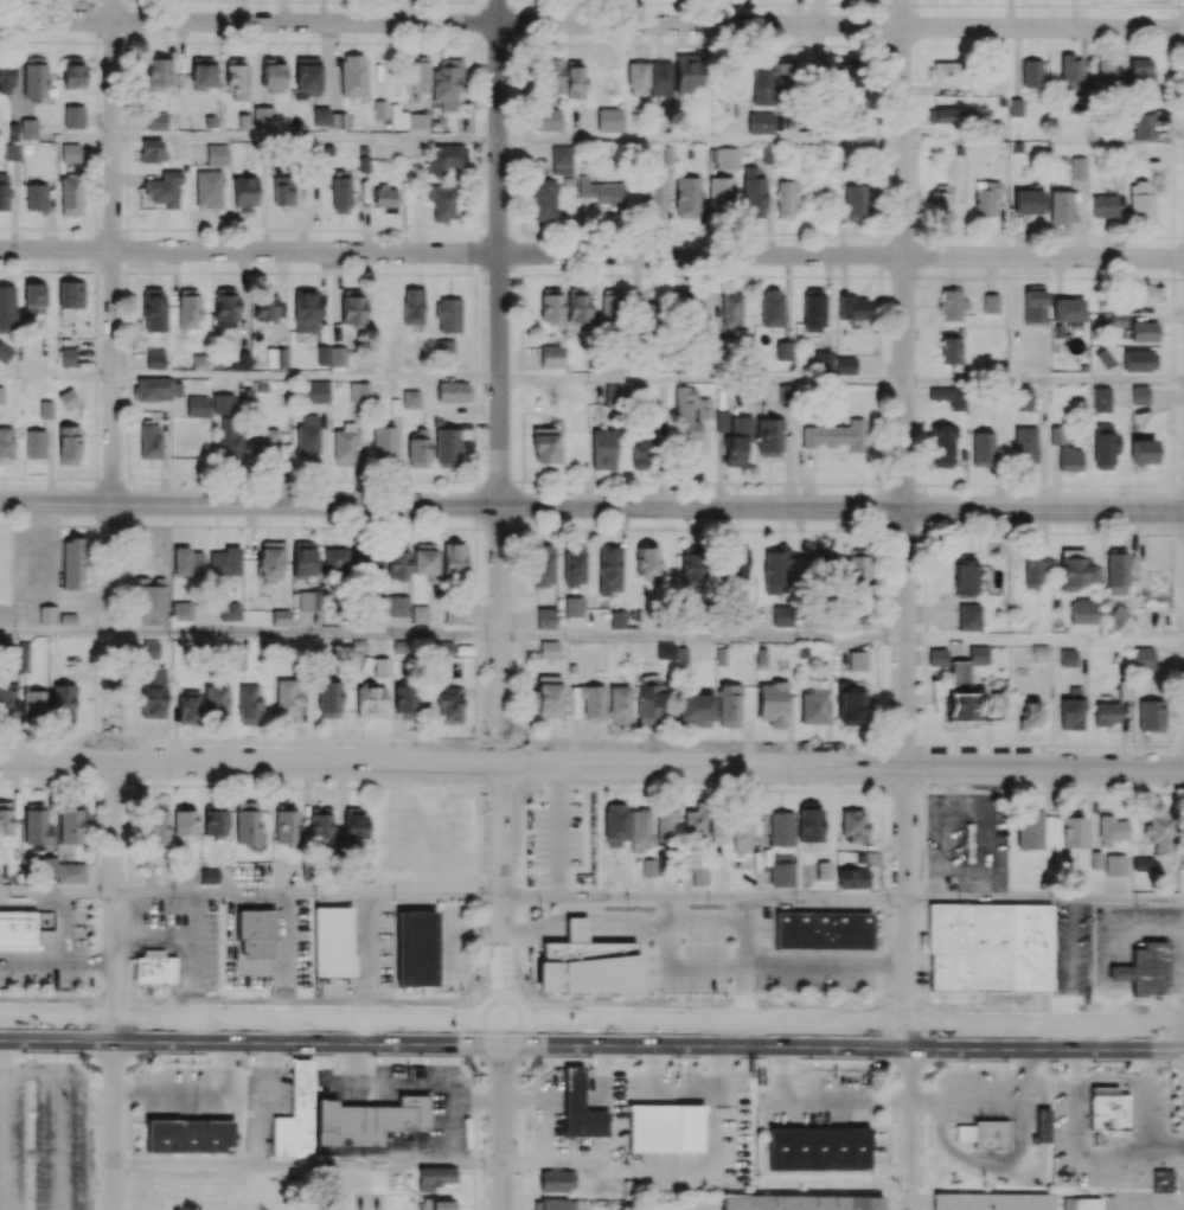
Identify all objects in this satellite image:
road: (591, 24)
road: (306, 134)
road: (591, 254)
road: (57, 374)
road: (307, 377)
road: (702, 380)
road: (1044, 383)
road: (591, 505)
road: (114, 513)
road: (500, 516)
road: (904, 517)
road: (57, 630)
road: (307, 633)
road: (703, 636)
road: (1044, 641)
road: (591, 766)
street lamp: (789, 785)
street lamp: (933, 785)
road: (56, 892)
road: (307, 895)
road: (703, 897)
road: (1044, 898)
road: (33, 905)
road: (68, 927)
building: (17, 929)
building: (575, 930)
road: (1150, 930)
building: (821, 931)
building: (255, 933)
building: (332, 945)
building: (18, 948)
building: (987, 948)
building: (415, 949)
road: (33, 960)
road: (90, 961)
road: (743, 965)
road: (824, 965)
road: (1071, 967)
building: (152, 968)
building: (588, 968)
building: (1148, 969)
building: (1119, 974)
road: (1114, 981)
street lamp: (83, 995)
street lamp: (210, 995)
street lamp: (348, 997)
street lamp: (457, 998)
street lamp: (761, 1001)
street lamp: (871, 1001)
street lamp: (1006, 1001)
street lamp: (1128, 1004)
road: (192, 1027)
road: (444, 1030)
traffic signals: (503, 1031)
road: (556, 1031)
road: (896, 1033)
street lamp: (18, 1058)
street lamp: (164, 1058)
road: (440, 1059)
street lamp: (279, 1061)
road: (367, 1061)
street lamp: (531, 1061)
road: (548, 1061)
street lamp: (674, 1063)
street lamp: (808, 1064)
street lamp: (933, 1064)
street lamp: (1063, 1067)
street lamp: (1163, 1069)
road: (197, 1091)
road: (654, 1091)
road: (449, 1099)
road: (608, 1101)
road: (986, 1102)
road: (806, 1105)
road: (542, 1107)
building: (577, 1109)
building: (1106, 1112)
building: (293, 1116)
road: (113, 1119)
road: (503, 1120)
road: (907, 1121)
building: (363, 1122)
building: (1039, 1127)
building: (652, 1129)
building: (689, 1129)
building: (962, 1133)
building: (988, 1135)
building: (187, 1137)
building: (818, 1150)
road: (307, 1163)
road: (677, 1171)
building: (1160, 1182)
building: (990, 1202)
building: (798, 1203)
building: (1077, 1204)
building: (659, 1205)

